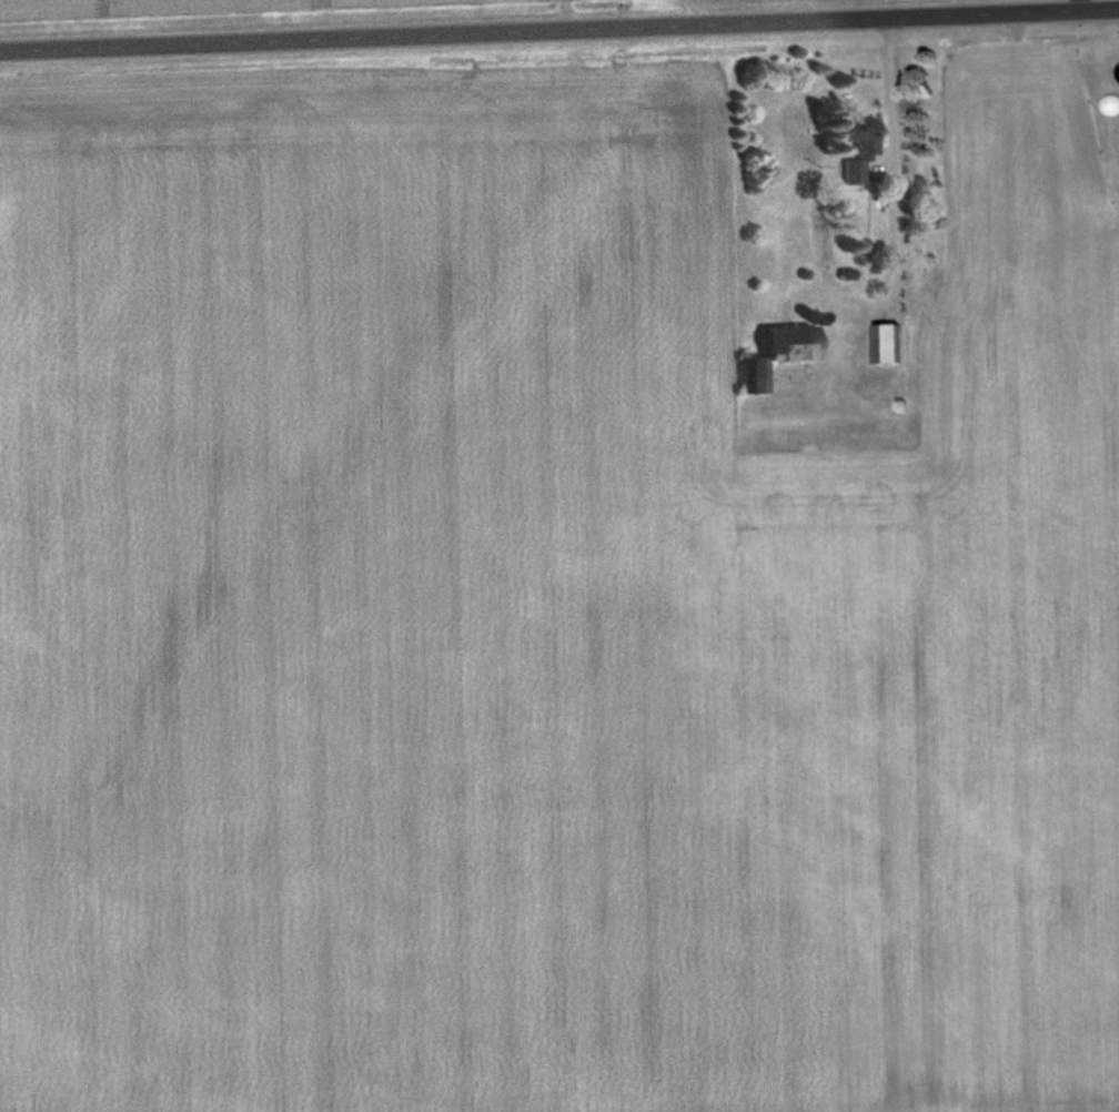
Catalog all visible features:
road: (559, 28)
building: (865, 145)
building: (802, 342)
building: (896, 342)

